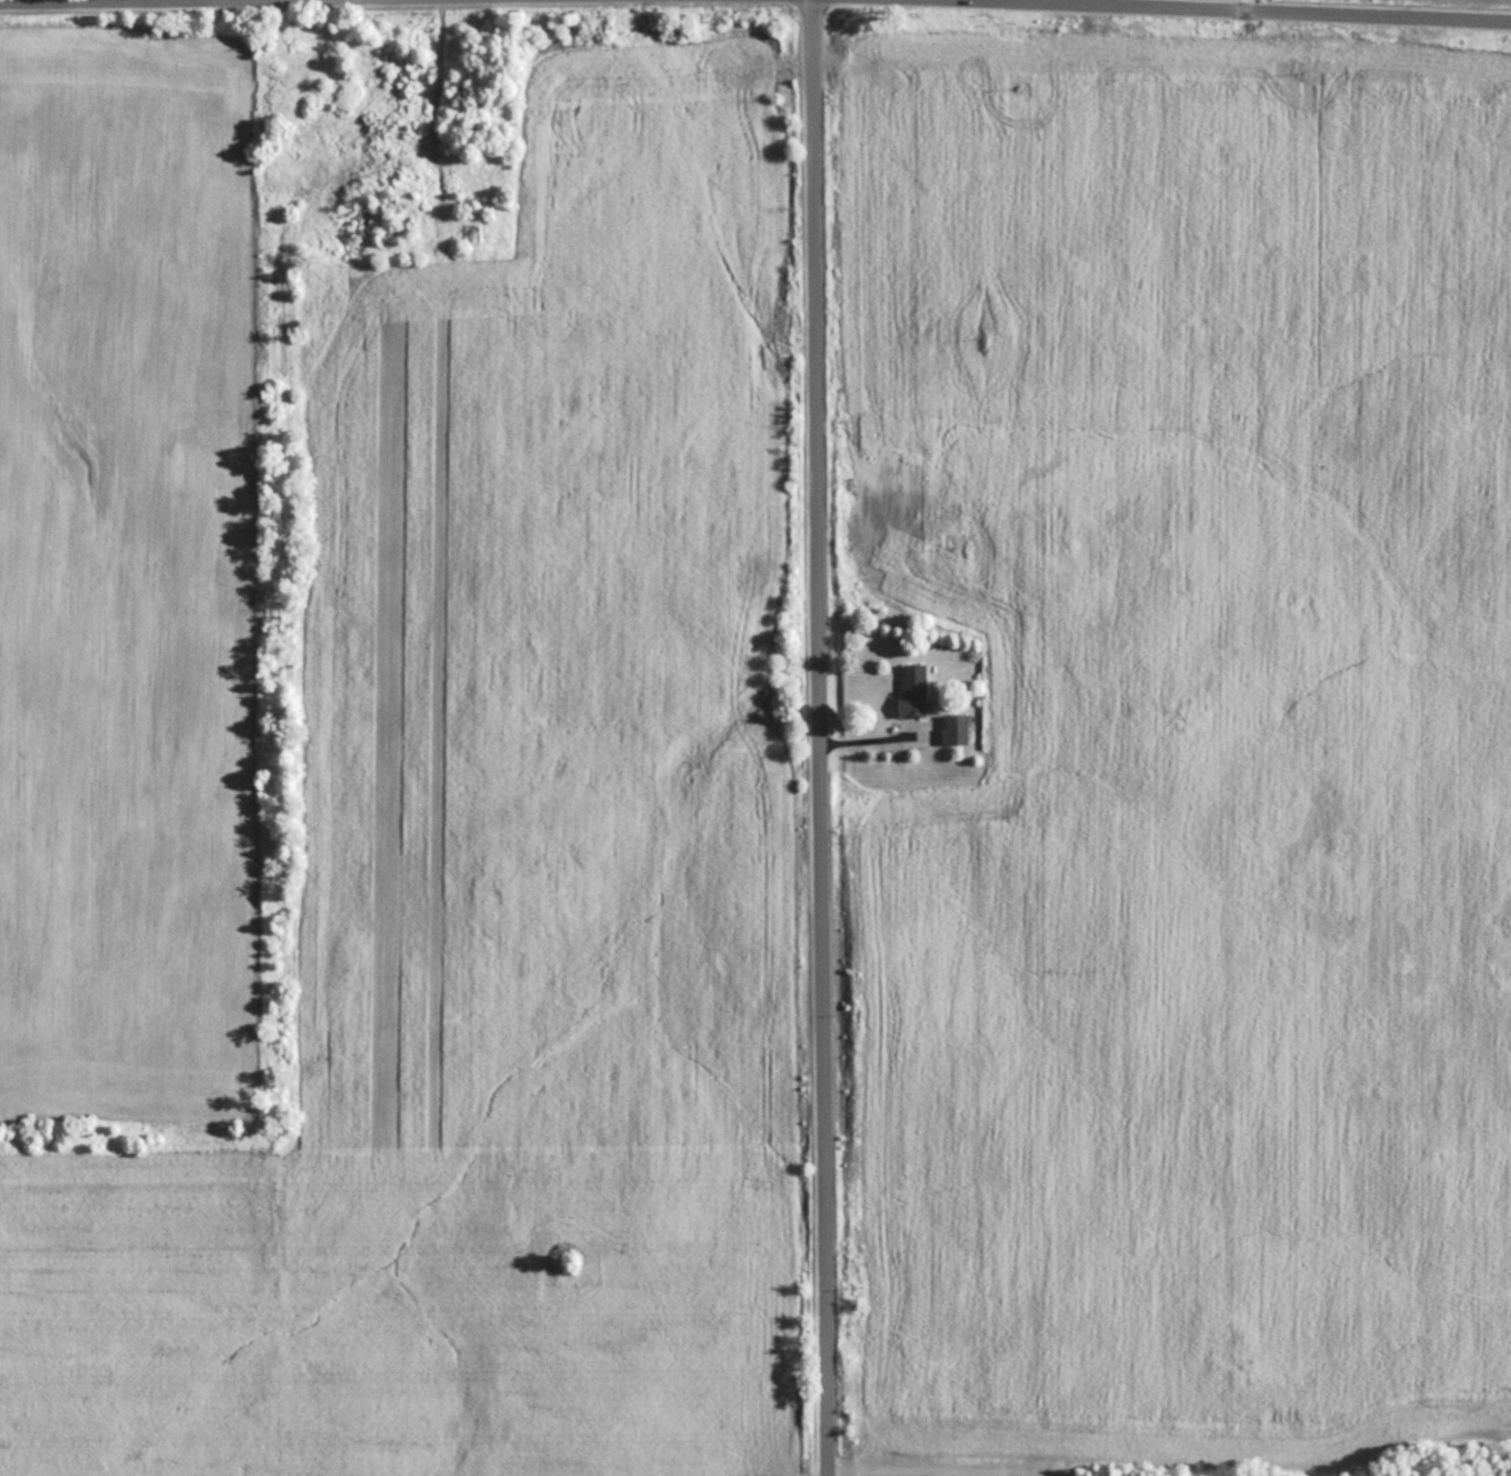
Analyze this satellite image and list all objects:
road: (221, 3)
road: (1186, 13)
building: (913, 688)
building: (956, 727)
road: (820, 738)

